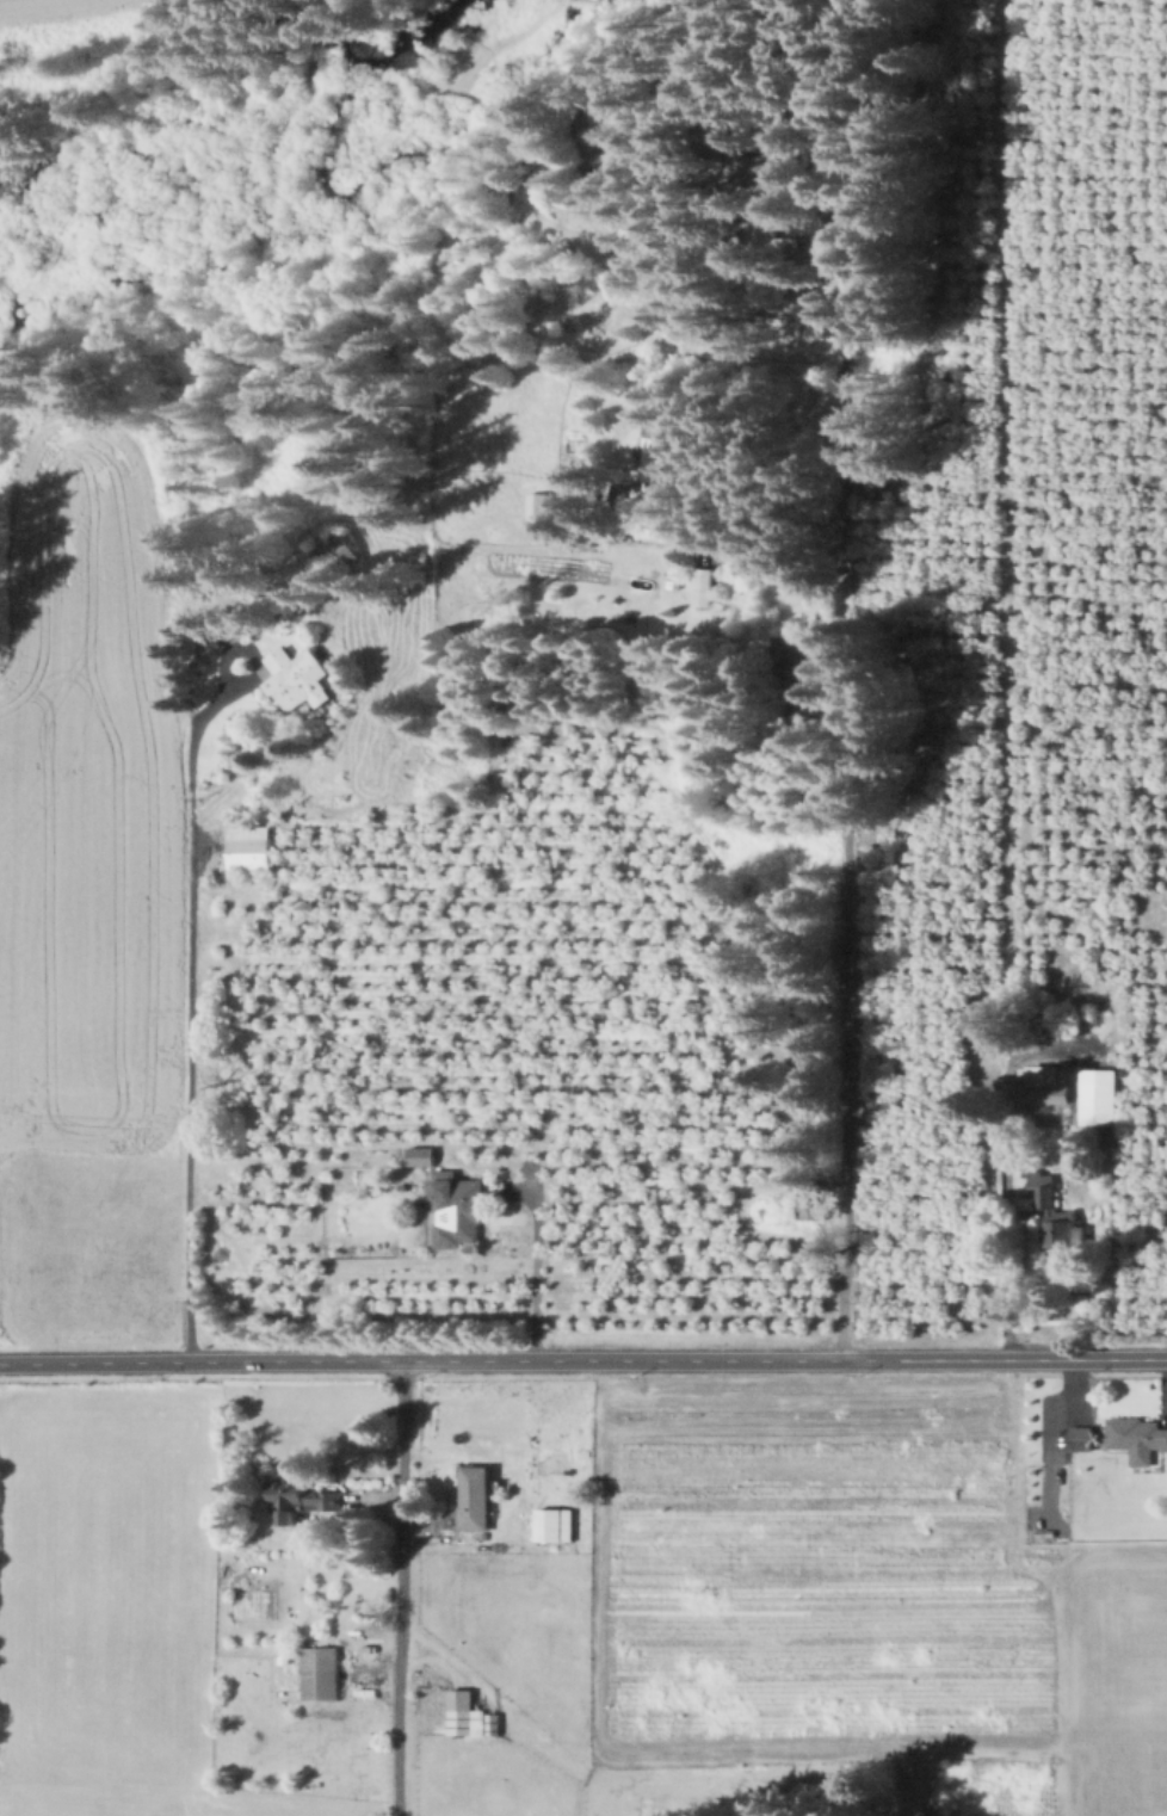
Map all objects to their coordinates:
crop: (85, 21)
building: (626, 123)
building: (777, 168)
building: (810, 226)
road: (715, 271)
building: (665, 304)
building: (666, 457)
building: (541, 511)
building: (336, 552)
building: (706, 585)
road: (1009, 598)
building: (798, 666)
building: (298, 679)
road: (846, 766)
crop: (85, 809)
building: (251, 847)
road: (190, 1013)
building: (1046, 1083)
building: (1101, 1097)
building: (426, 1155)
building: (1029, 1203)
building: (458, 1209)
building: (813, 1210)
building: (1058, 1212)
crop: (91, 1250)
road: (535, 1254)
road: (1006, 1272)
road: (583, 1360)
road: (1049, 1435)
building: (1083, 1438)
building: (1136, 1441)
building: (297, 1496)
building: (477, 1497)
building: (555, 1536)
road: (468, 1542)
road: (403, 1588)
crop: (573, 1592)
building: (322, 1674)
building: (465, 1712)

